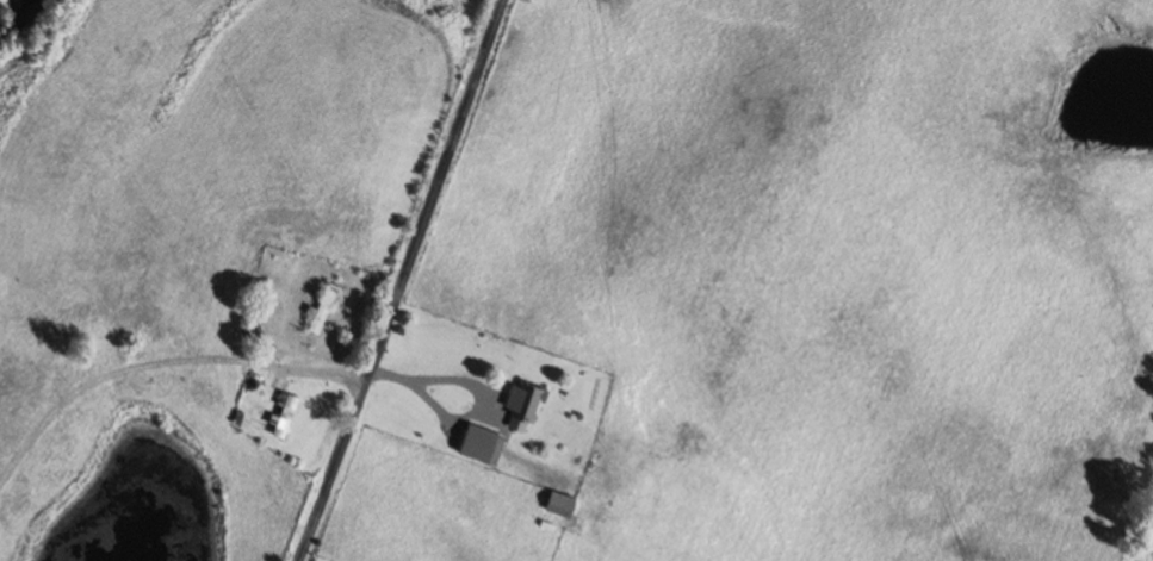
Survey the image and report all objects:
road: (180, 260)
road: (407, 280)

